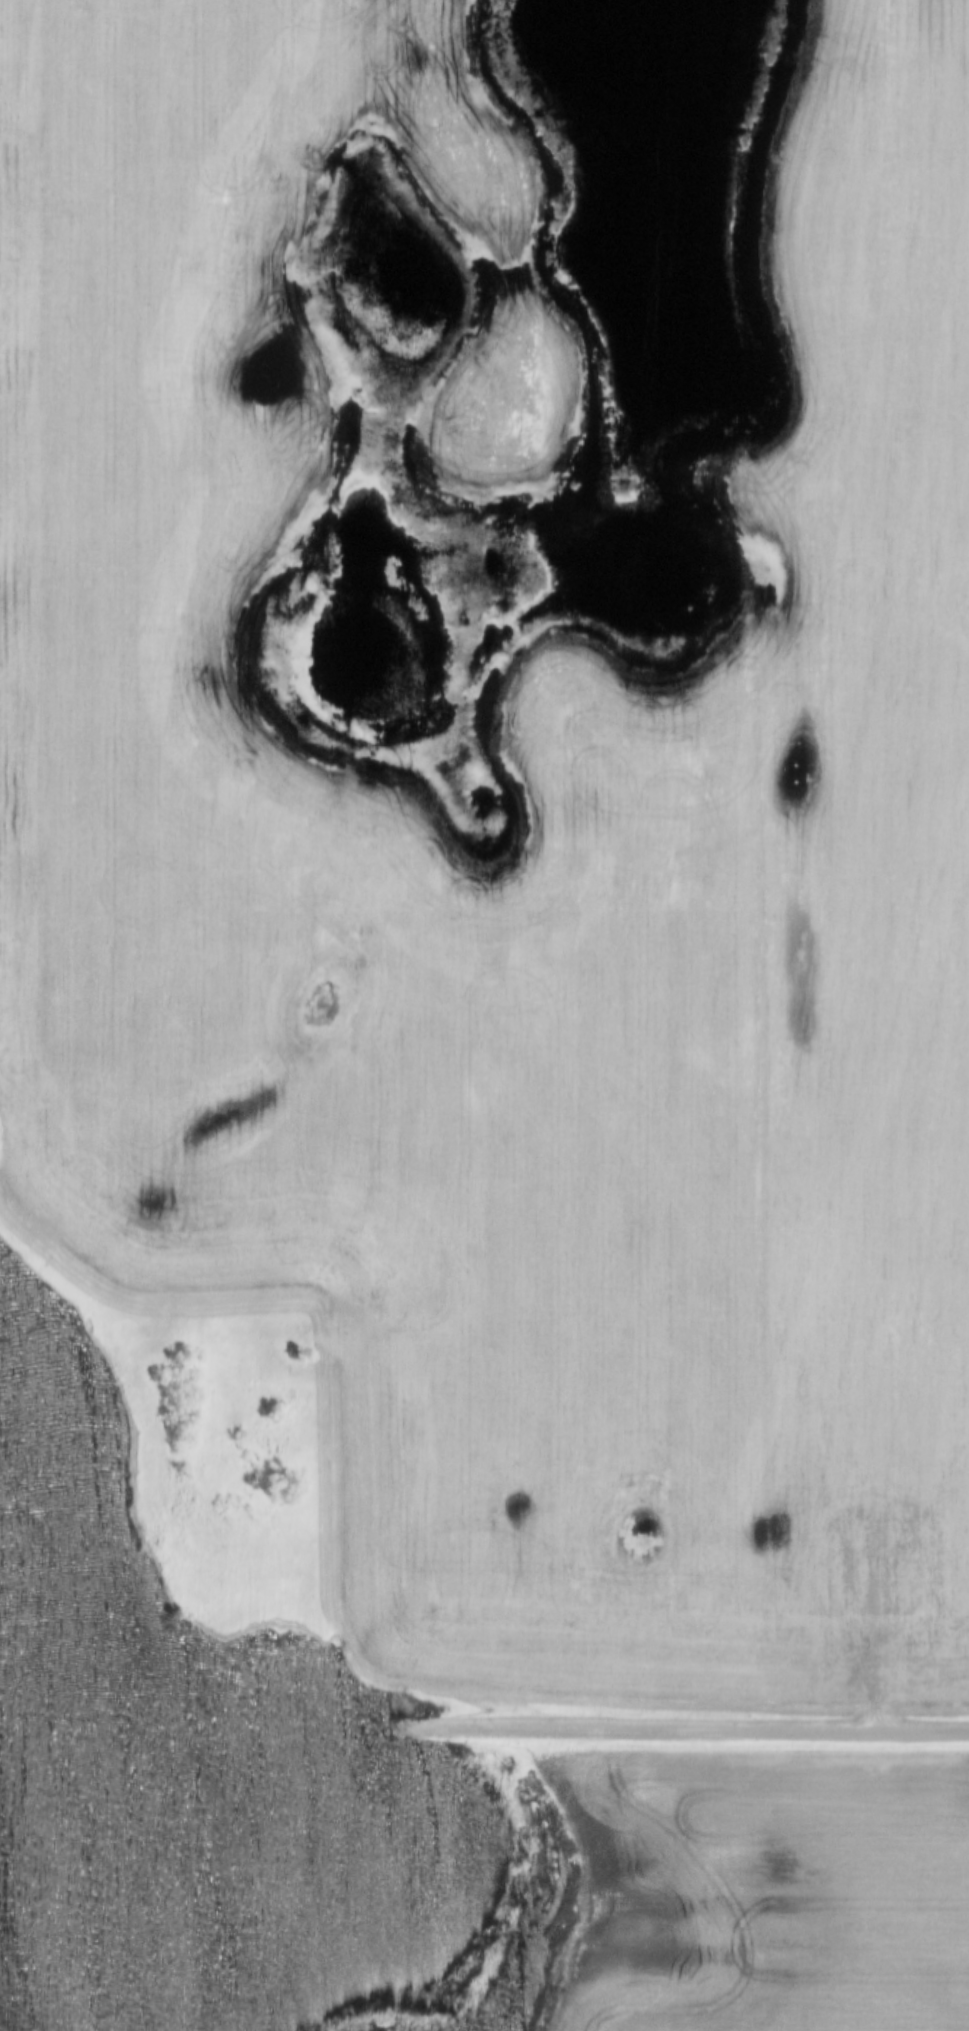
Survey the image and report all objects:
road: (484, 1731)

